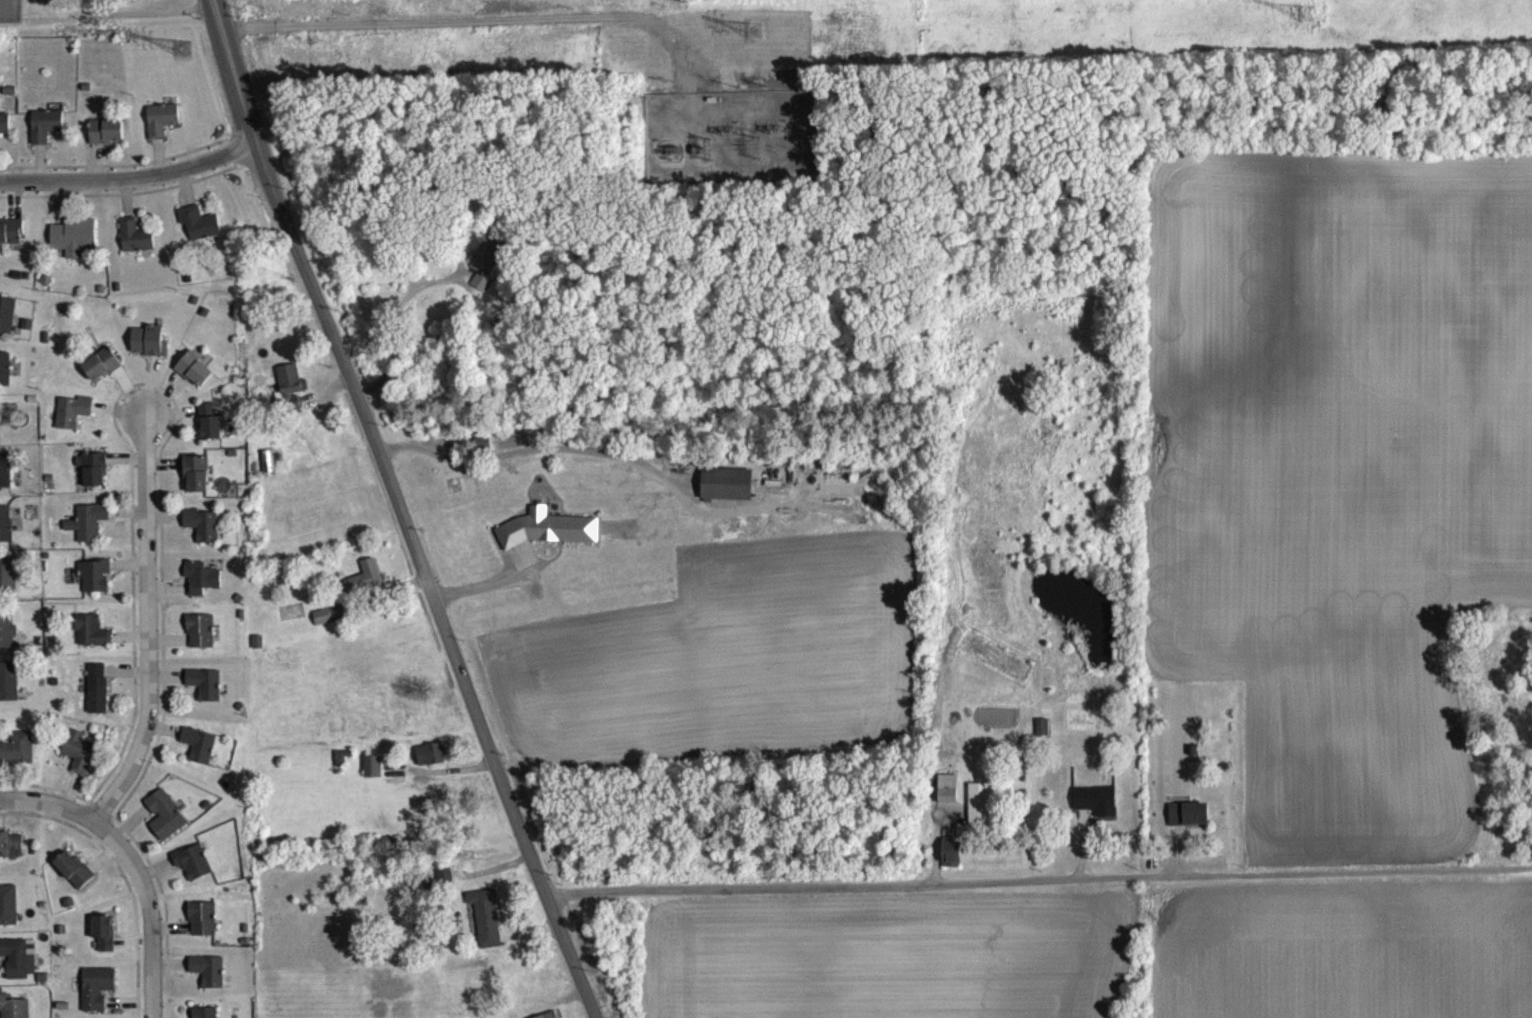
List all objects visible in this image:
building: (122, 3)
building: (92, 4)
road: (145, 11)
power tower: (1309, 19)
road: (481, 21)
power tower: (755, 31)
power tower: (184, 43)
building: (161, 130)
building: (4, 133)
building: (45, 136)
power substation: (731, 138)
building: (106, 142)
road: (129, 178)
building: (199, 233)
building: (11, 242)
building: (74, 247)
building: (135, 247)
building: (488, 270)
building: (7, 326)
building: (148, 351)
building: (101, 375)
building: (5, 379)
building: (194, 380)
building: (291, 390)
building: (72, 422)
building: (210, 433)
road: (524, 451)
building: (267, 472)
building: (95, 480)
building: (5, 481)
building: (196, 484)
building: (726, 495)
road: (399, 510)
building: (88, 532)
building: (6, 534)
building: (202, 535)
building: (547, 539)
building: (8, 586)
building: (95, 586)
building: (201, 588)
building: (365, 588)
road: (147, 622)
building: (329, 625)
building: (7, 641)
building: (91, 641)
building: (200, 642)
building: (8, 692)
building: (205, 694)
building: (97, 699)
building: (199, 756)
building: (78, 761)
building: (431, 765)
building: (341, 768)
building: (372, 777)
road: (48, 801)
building: (948, 806)
building: (1096, 811)
building: (979, 814)
building: (165, 825)
building: (1188, 825)
building: (11, 855)
building: (951, 864)
building: (193, 872)
road: (1039, 880)
building: (74, 881)
road: (148, 908)
building: (486, 928)
building: (202, 929)
building: (104, 943)
building: (19, 967)
building: (208, 981)
building: (97, 996)
building: (12, 1012)
building: (199, 1017)

